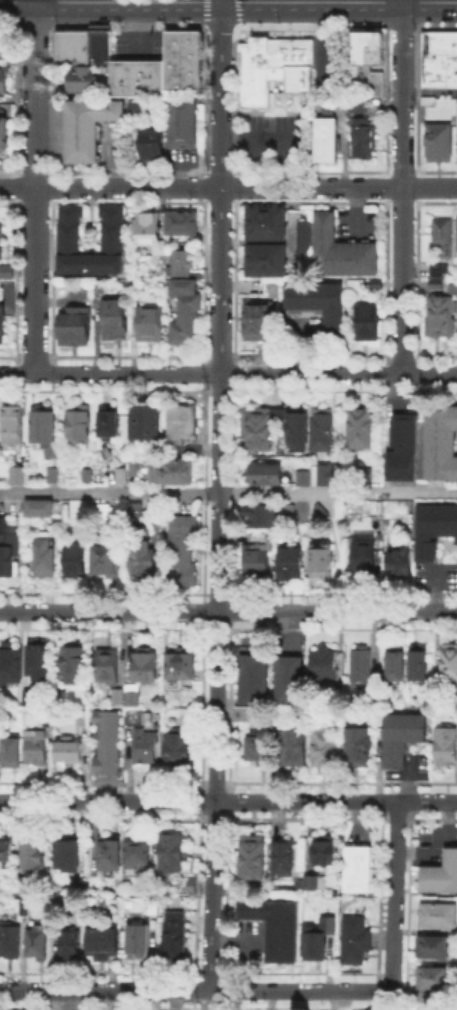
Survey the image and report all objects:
road: (211, 0)
traffic signals: (221, 0)
road: (339, 0)
building: (73, 45)
parking lot: (137, 45)
building: (2, 46)
building: (100, 46)
building: (368, 48)
building: (438, 58)
building: (182, 59)
parking lot: (336, 65)
building: (271, 68)
building: (137, 75)
building: (1, 81)
building: (78, 81)
building: (374, 81)
road: (429, 91)
building: (139, 109)
building: (86, 126)
building: (185, 126)
road: (253, 138)
building: (2, 139)
building: (364, 140)
building: (436, 140)
building: (328, 141)
building: (456, 142)
parking lot: (277, 143)
building: (153, 147)
road: (35, 186)
road: (402, 186)
road: (228, 187)
road: (356, 207)
building: (184, 225)
building: (269, 226)
parking lot: (359, 228)
building: (152, 233)
building: (455, 233)
building: (440, 234)
building: (64, 237)
building: (303, 239)
building: (1, 241)
building: (345, 253)
building: (269, 263)
building: (181, 265)
building: (7, 273)
building: (440, 275)
building: (456, 287)
building: (315, 304)
building: (182, 310)
building: (438, 315)
building: (253, 320)
building: (3, 321)
building: (115, 321)
building: (365, 321)
building: (151, 326)
building: (77, 328)
parking lot: (301, 331)
road: (228, 373)
road: (218, 400)
building: (111, 421)
building: (146, 422)
building: (182, 424)
building: (14, 426)
building: (79, 426)
building: (356, 428)
building: (43, 429)
building: (320, 429)
building: (296, 430)
building: (258, 432)
building: (442, 445)
building: (402, 451)
building: (173, 472)
building: (50, 473)
building: (14, 474)
building: (263, 474)
building: (328, 474)
building: (370, 475)
building: (89, 476)
building: (123, 478)
building: (304, 480)
road: (228, 492)
building: (37, 507)
building: (83, 509)
building: (104, 511)
building: (137, 512)
building: (259, 513)
building: (435, 530)
building: (6, 546)
building: (186, 554)
building: (43, 556)
building: (362, 558)
building: (144, 559)
building: (324, 559)
building: (75, 561)
building: (106, 561)
building: (256, 561)
building: (401, 561)
building: (292, 565)
road: (228, 610)
building: (41, 660)
building: (75, 663)
building: (450, 663)
building: (183, 664)
building: (397, 664)
building: (11, 665)
building: (325, 665)
building: (420, 666)
building: (147, 667)
building: (110, 668)
building: (363, 668)
building: (255, 680)
building: (290, 684)
building: (32, 697)
building: (119, 698)
building: (135, 699)
building: (244, 716)
building: (137, 718)
building: (402, 739)
building: (109, 745)
building: (447, 746)
building: (259, 747)
building: (327, 747)
building: (147, 748)
building: (362, 748)
building: (36, 749)
building: (179, 749)
building: (71, 751)
building: (294, 751)
building: (13, 754)
road: (107, 801)
road: (306, 801)
road: (427, 801)
building: (6, 850)
building: (70, 852)
building: (140, 852)
building: (325, 852)
building: (33, 853)
building: (110, 853)
building: (175, 854)
building: (251, 856)
building: (286, 859)
building: (359, 870)
building: (442, 876)
building: (22, 882)
building: (314, 884)
building: (302, 886)
road: (214, 896)
road: (396, 896)
building: (157, 908)
building: (440, 918)
building: (281, 927)
building: (180, 935)
building: (323, 938)
building: (106, 940)
building: (11, 943)
building: (40, 943)
building: (359, 943)
building: (143, 944)
building: (74, 947)
building: (437, 949)
building: (437, 980)
road: (106, 991)
road: (304, 991)
road: (68, 1000)

